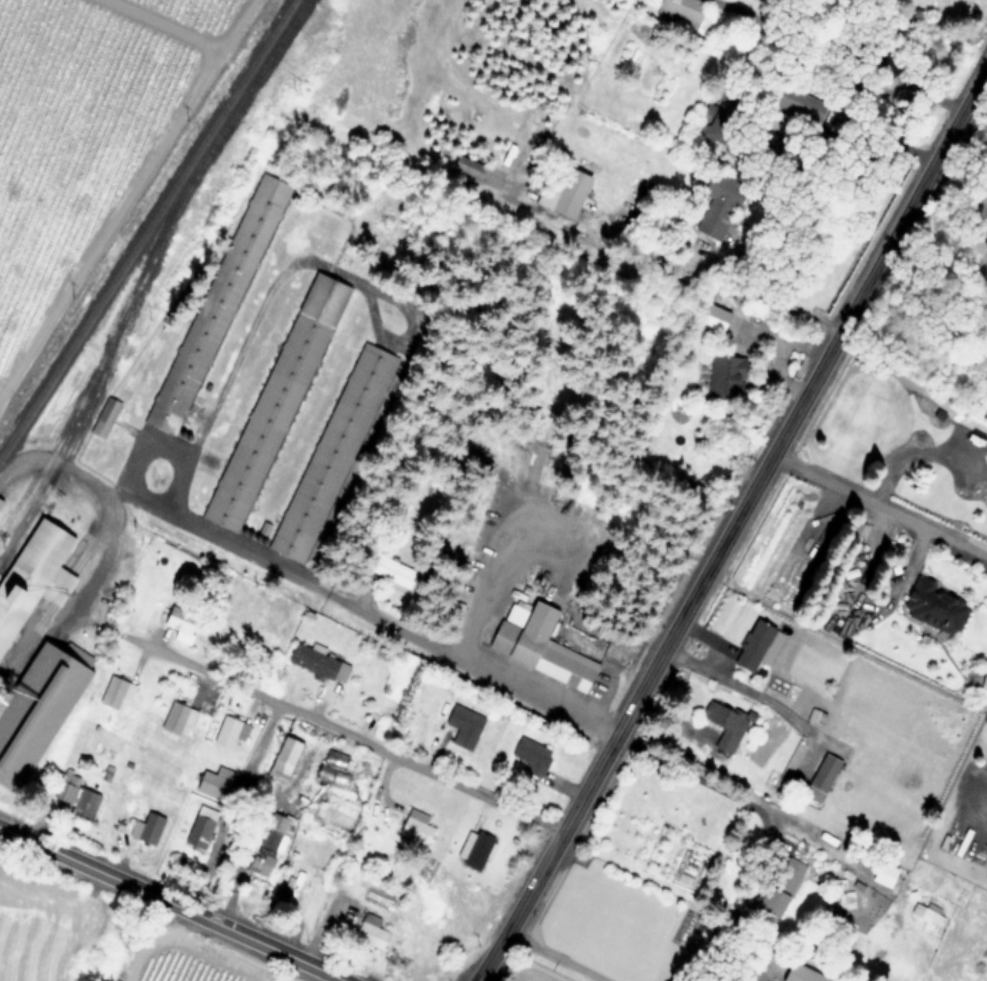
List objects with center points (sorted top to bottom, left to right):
building: (680, 11)
road: (984, 83)
building: (784, 100)
crop: (87, 134)
road: (859, 137)
building: (569, 192)
railway: (147, 228)
building: (981, 234)
railway: (148, 267)
road: (775, 293)
building: (216, 303)
building: (711, 317)
building: (725, 377)
building: (275, 402)
building: (861, 408)
building: (103, 417)
building: (332, 453)
road: (906, 453)
road: (879, 504)
road: (733, 526)
building: (391, 572)
building: (33, 574)
road: (488, 590)
building: (933, 606)
road: (364, 613)
building: (180, 623)
building: (538, 645)
building: (756, 646)
road: (42, 651)
building: (312, 659)
building: (115, 691)
building: (35, 707)
building: (176, 717)
building: (463, 725)
building: (724, 725)
building: (229, 731)
road: (347, 734)
building: (530, 755)
road: (695, 773)
building: (820, 777)
building: (215, 782)
building: (75, 796)
building: (415, 826)
building: (200, 827)
building: (146, 828)
building: (269, 845)
road: (245, 850)
building: (883, 874)
building: (290, 886)
building: (779, 886)
road: (173, 903)
building: (928, 914)
building: (685, 929)
building: (369, 930)
road: (159, 943)
crop: (75, 950)
road: (554, 956)
building: (799, 974)
building: (758, 980)

